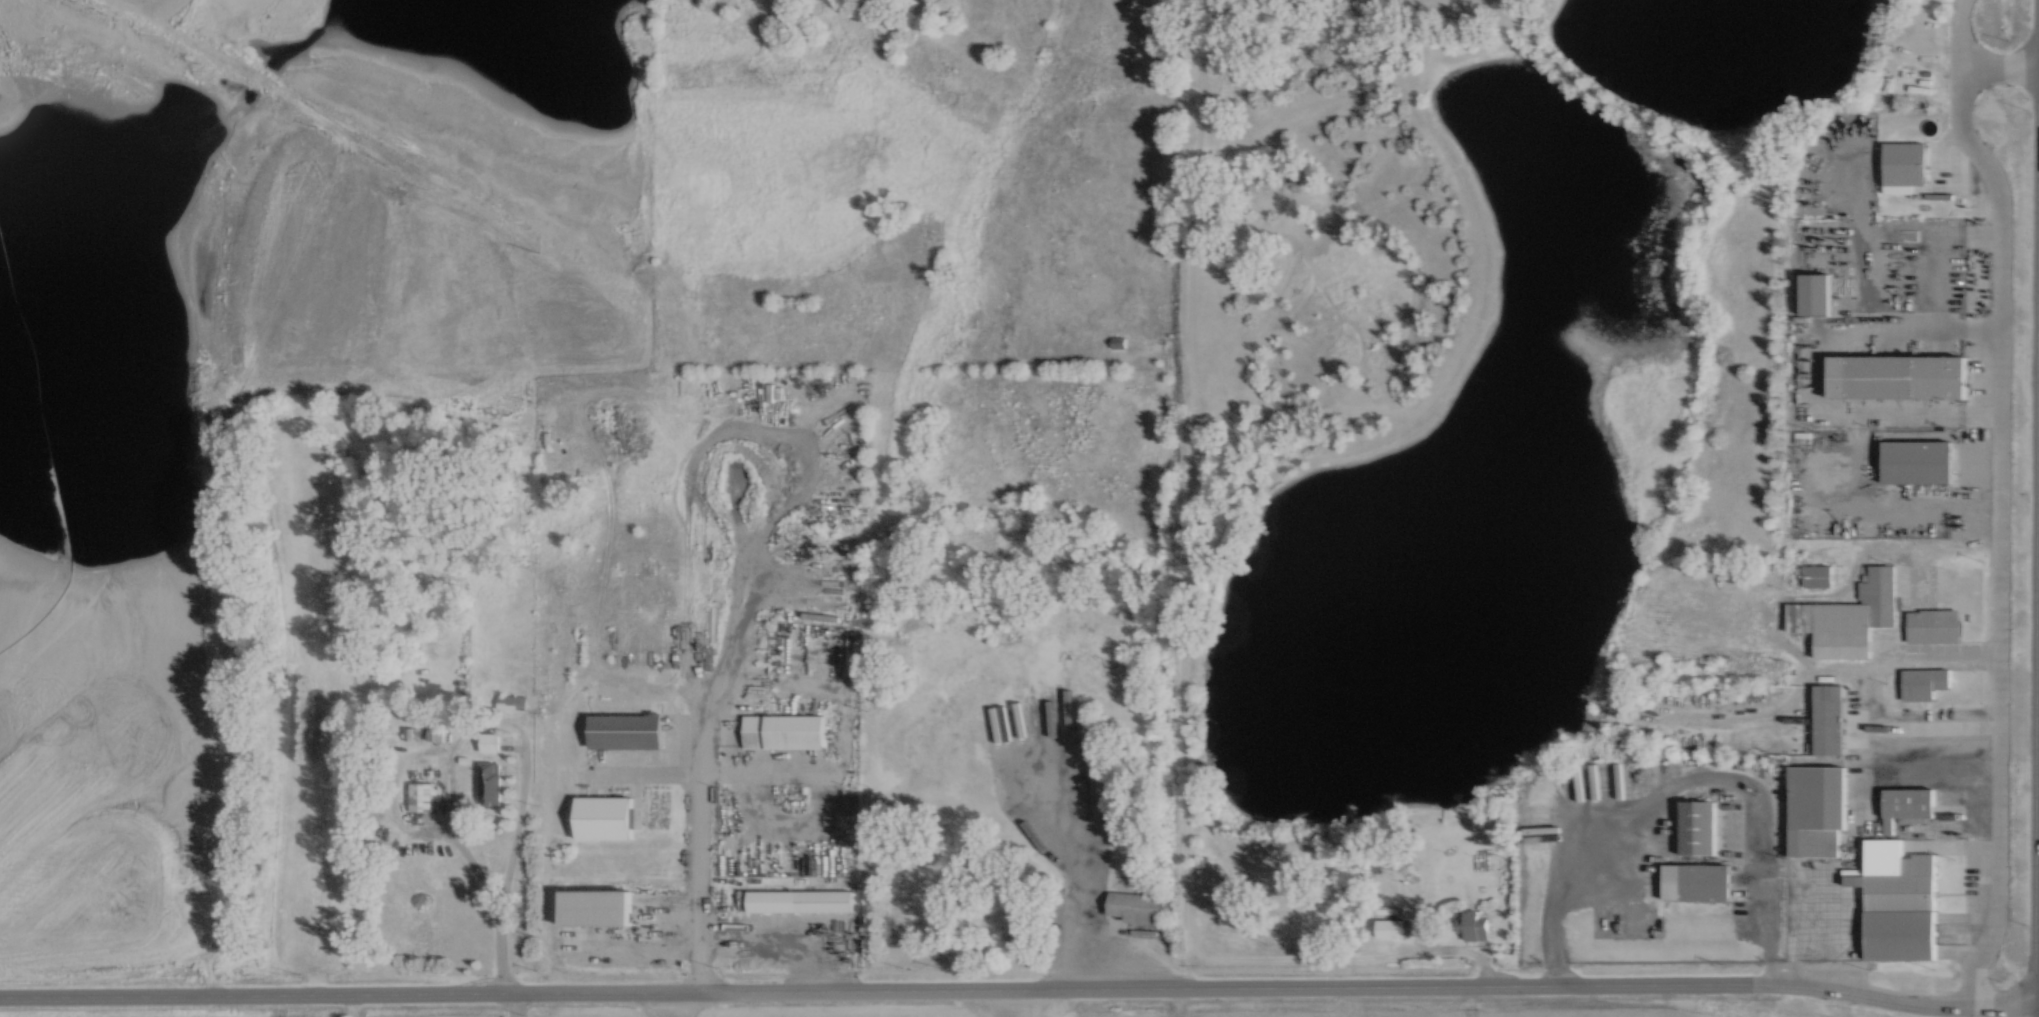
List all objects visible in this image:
road: (1998, 63)
building: (1904, 166)
building: (1817, 293)
building: (1115, 342)
building: (1898, 376)
building: (1917, 460)
road: (2000, 501)
building: (1817, 575)
building: (1847, 617)
building: (1932, 625)
road: (1183, 639)
building: (1922, 683)
building: (510, 702)
building: (1828, 719)
building: (624, 731)
building: (784, 731)
building: (489, 742)
road: (701, 771)
road: (703, 773)
building: (489, 783)
building: (420, 797)
building: (1906, 806)
building: (1815, 810)
building: (603, 818)
building: (1696, 828)
road: (457, 840)
building: (1696, 883)
building: (799, 901)
building: (1898, 902)
building: (1135, 907)
building: (1474, 926)
building: (1390, 928)
road: (783, 931)
building: (1018, 932)
road: (502, 959)
road: (1020, 991)
road: (1467, 1001)
road: (1175, 1002)
airport: (1054, 1009)

